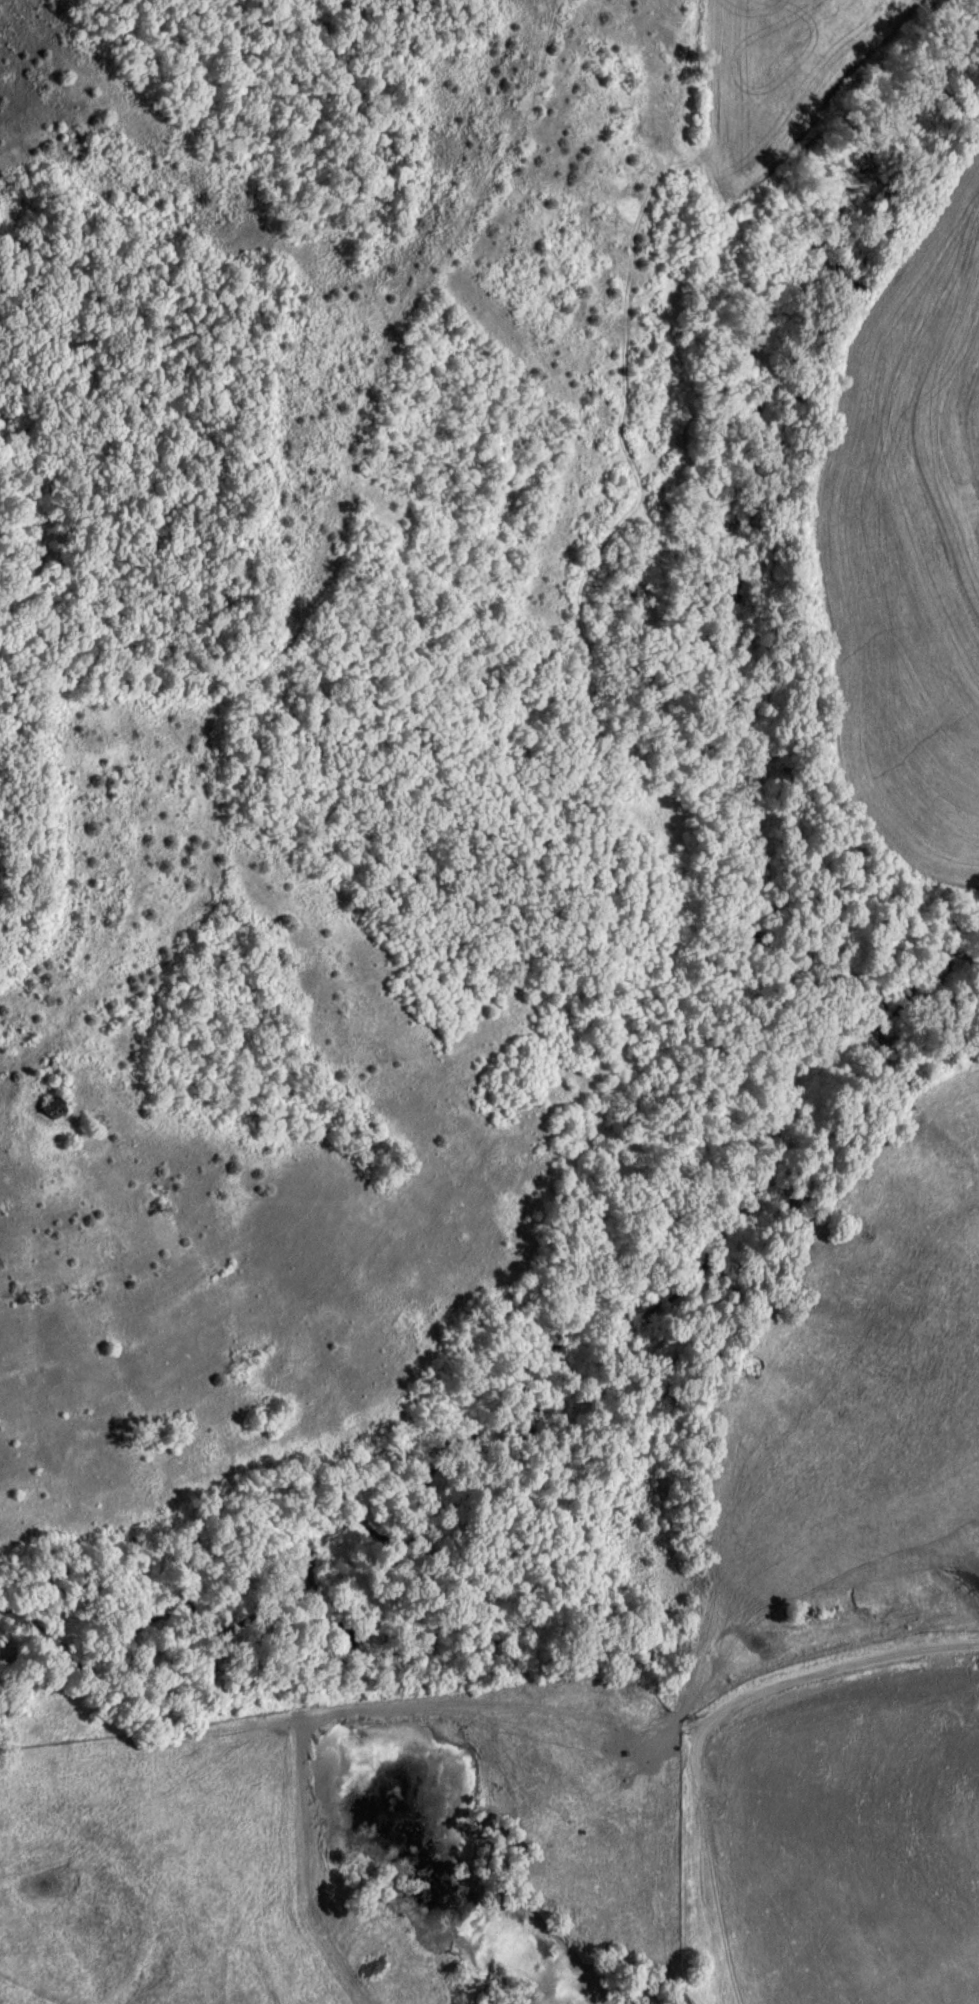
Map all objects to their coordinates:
building: (50, 1104)
road: (902, 1643)

